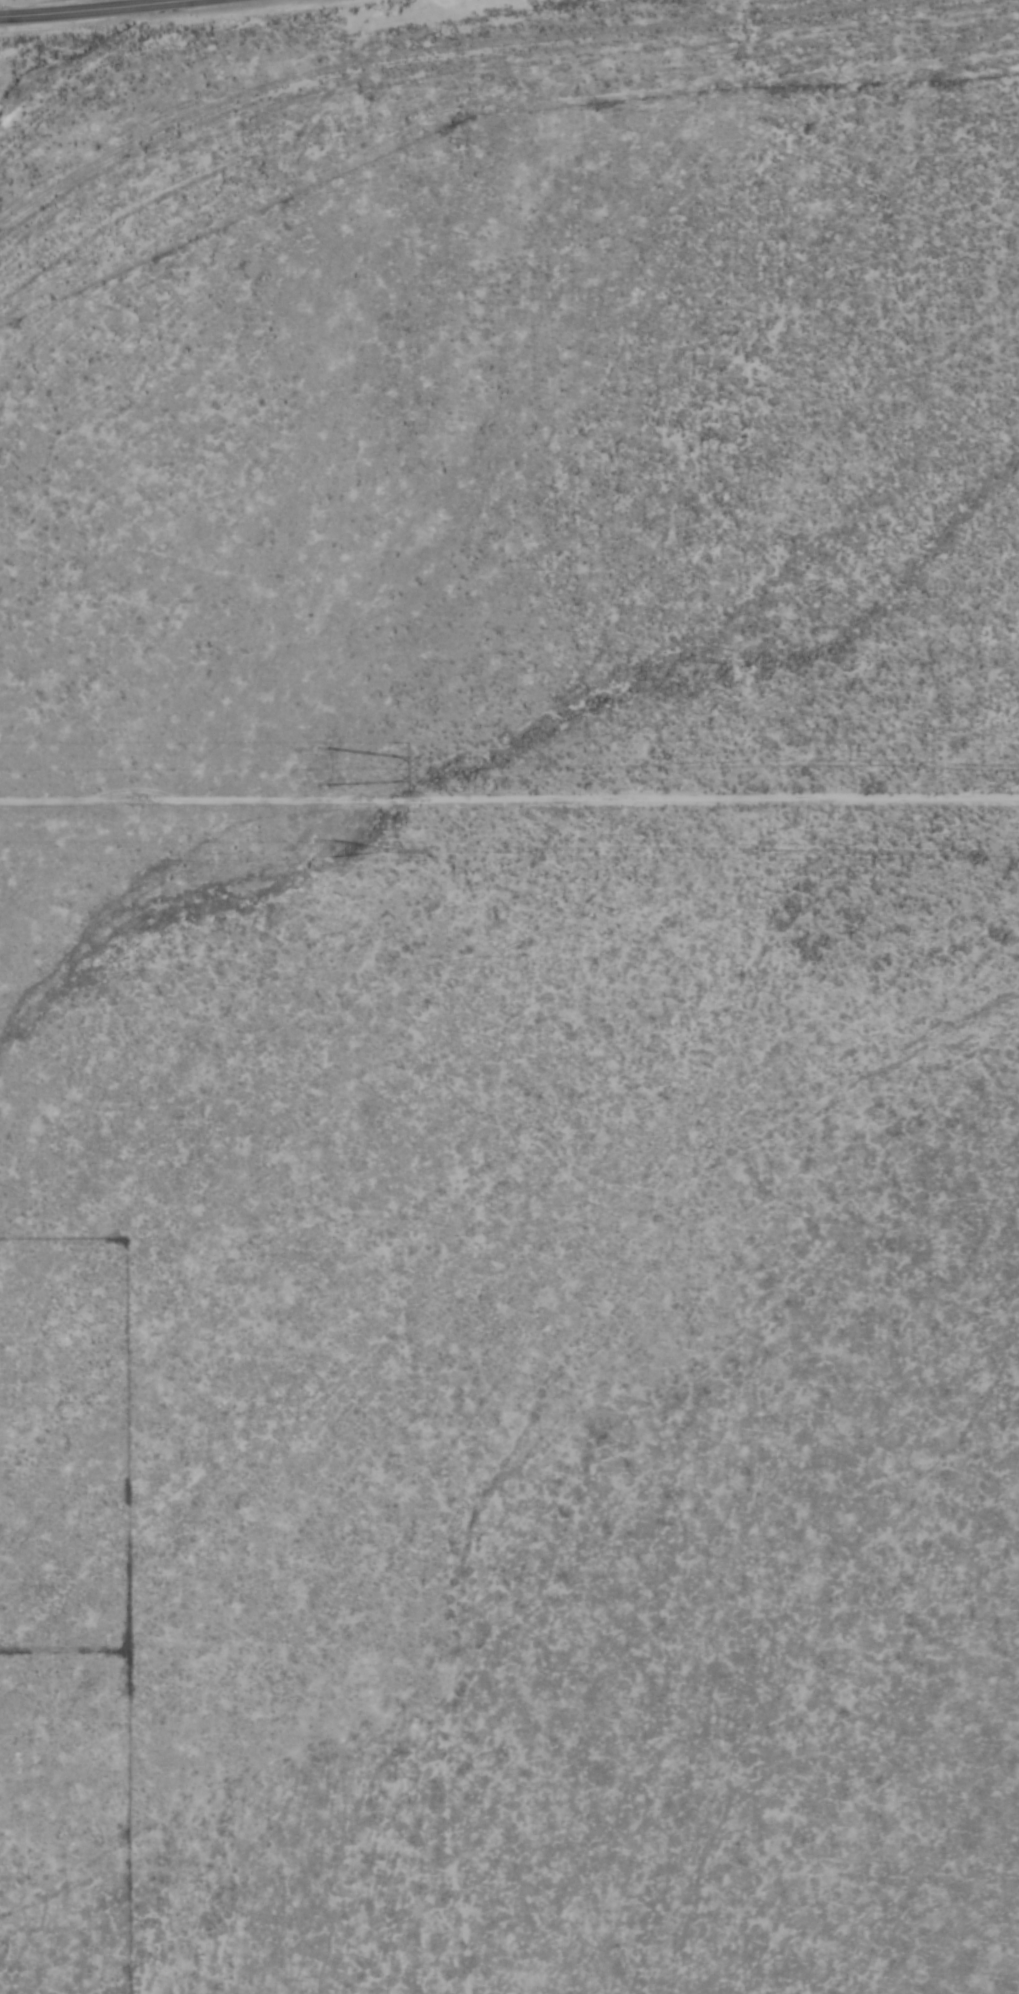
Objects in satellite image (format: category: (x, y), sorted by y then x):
road: (63, 3)
power tower: (320, 772)
power tower: (323, 854)

